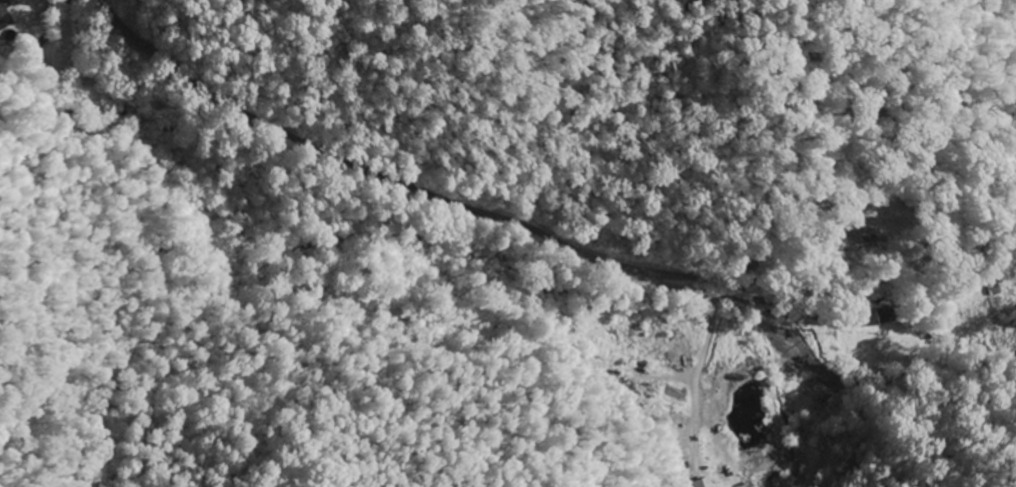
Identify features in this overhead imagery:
road: (535, 232)
road: (868, 323)
building: (703, 483)

